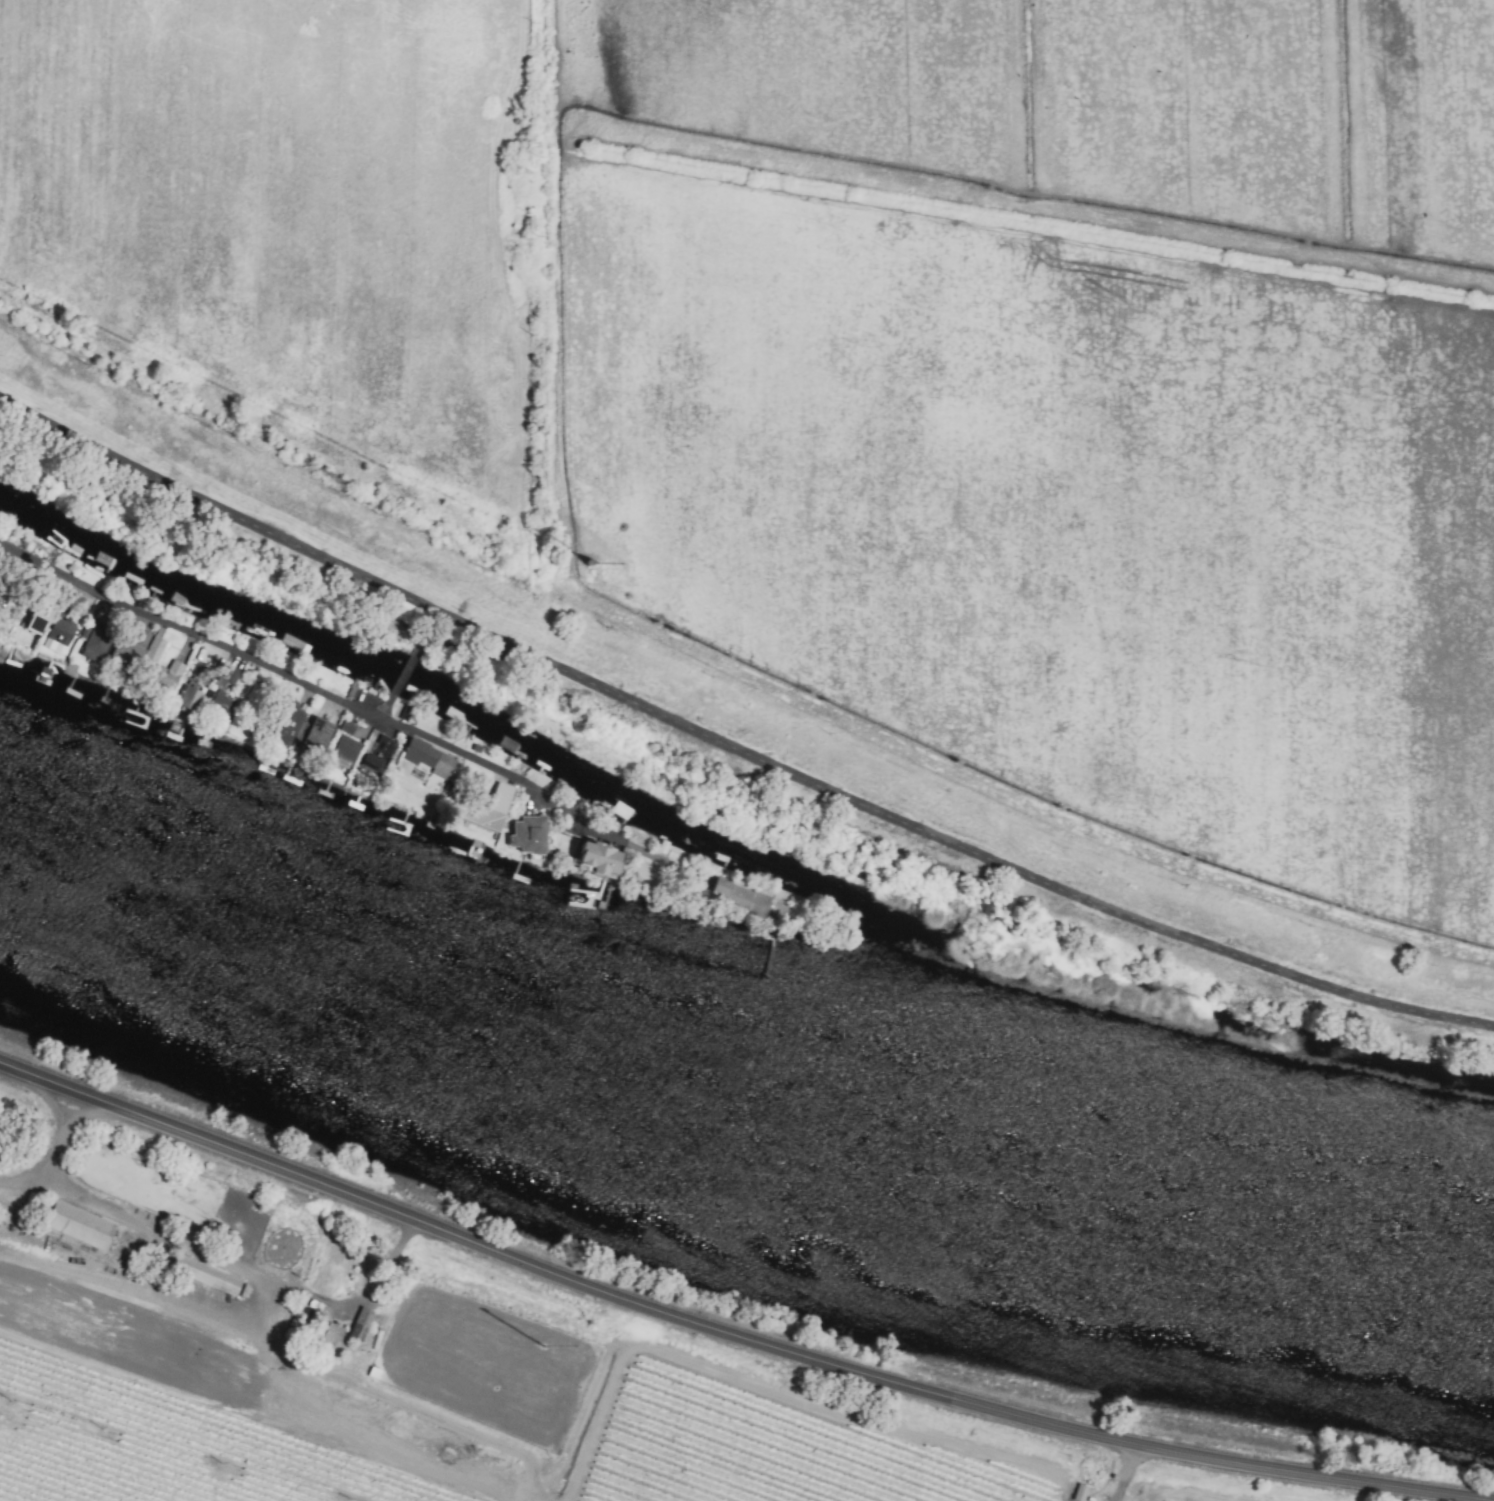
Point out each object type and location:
crop: (851, 378)
road: (373, 616)
building: (40, 619)
building: (60, 633)
building: (100, 635)
building: (141, 642)
road: (420, 649)
building: (155, 650)
road: (480, 663)
building: (172, 674)
road: (404, 676)
road: (290, 684)
building: (218, 689)
building: (191, 697)
road: (385, 712)
building: (291, 725)
building: (347, 727)
building: (319, 735)
building: (347, 748)
road: (732, 749)
building: (379, 753)
building: (430, 758)
building: (497, 806)
building: (530, 835)
road: (648, 853)
building: (603, 859)
building: (735, 893)
river: (735, 1071)
road: (55, 1163)
building: (80, 1226)
road: (250, 1274)
building: (206, 1275)
building: (360, 1324)
road: (731, 1335)
crop: (588, 1402)
road: (1129, 1473)
building: (1081, 1493)

